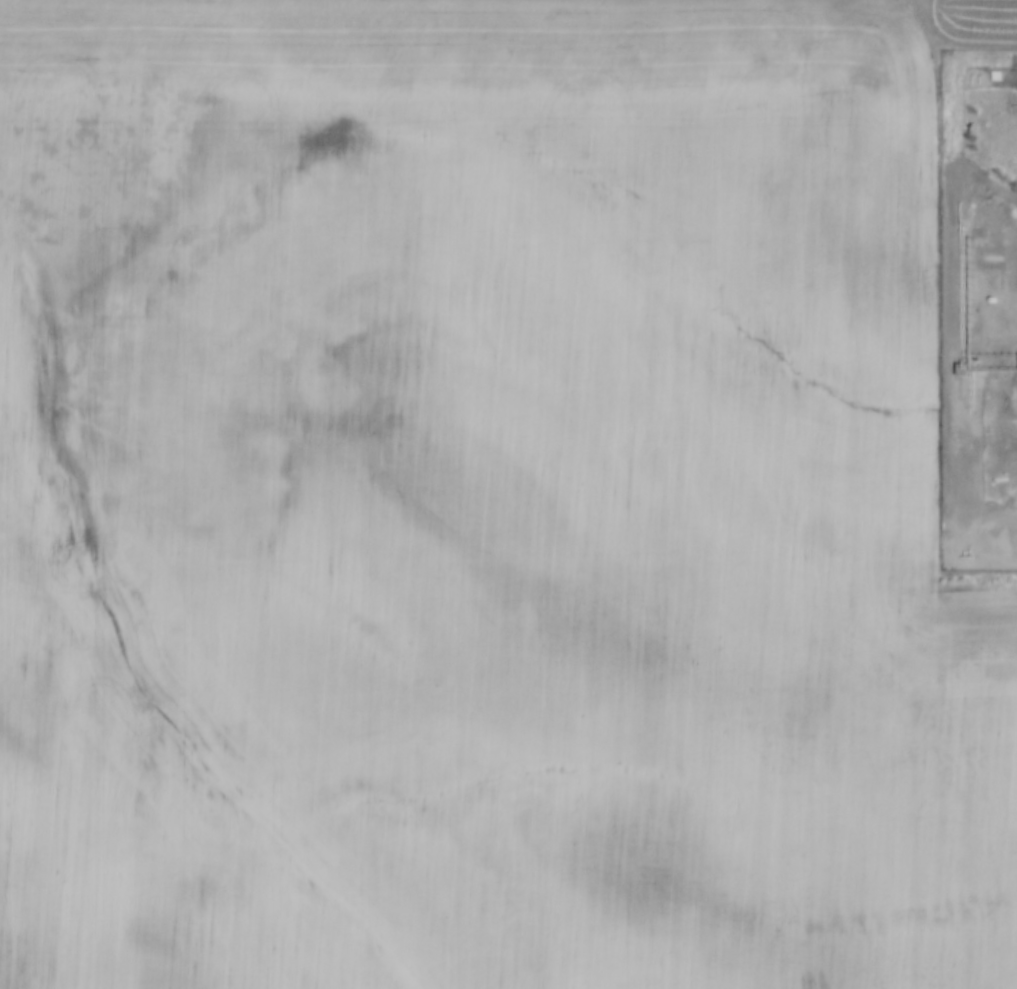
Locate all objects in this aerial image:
building: (964, 368)

